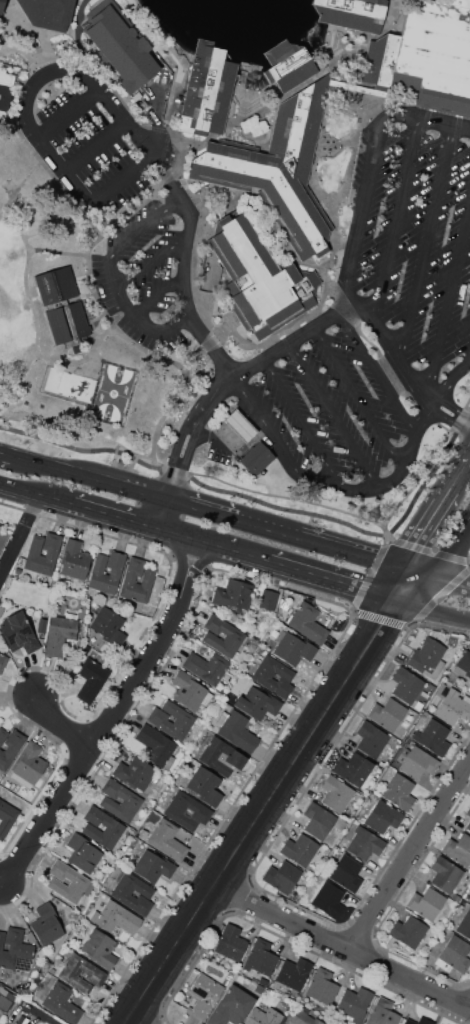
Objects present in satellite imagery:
building: (1, 6)
pier: (323, 9)
building: (48, 13)
building: (352, 13)
road: (79, 36)
building: (118, 44)
pier: (216, 56)
building: (431, 56)
pier: (282, 57)
road: (376, 61)
building: (288, 65)
road: (44, 79)
building: (7, 84)
building: (208, 90)
road: (262, 107)
road: (71, 115)
road: (98, 146)
building: (277, 169)
road: (25, 181)
road: (125, 182)
parking lot: (121, 197)
road: (395, 220)
road: (150, 223)
road: (358, 232)
road: (425, 241)
road: (73, 254)
road: (153, 261)
road: (186, 264)
building: (260, 281)
building: (56, 285)
road: (159, 297)
road: (449, 297)
park: (9, 311)
road: (33, 311)
road: (133, 312)
building: (67, 322)
park: (72, 342)
road: (281, 344)
road: (376, 374)
road: (450, 379)
park: (117, 394)
road: (359, 397)
road: (454, 405)
road: (334, 414)
road: (424, 418)
road: (301, 421)
road: (449, 421)
road: (265, 423)
building: (241, 426)
road: (186, 446)
road: (6, 452)
building: (257, 458)
road: (92, 477)
road: (203, 486)
road: (370, 489)
road: (37, 494)
road: (204, 510)
road: (437, 515)
road: (118, 518)
building: (0, 523)
building: (0, 527)
road: (267, 528)
building: (2, 538)
road: (21, 540)
road: (216, 546)
building: (0, 548)
building: (52, 551)
road: (353, 552)
building: (75, 560)
building: (97, 570)
road: (441, 574)
road: (439, 576)
building: (129, 579)
road: (334, 580)
road: (402, 584)
building: (234, 594)
building: (269, 600)
road: (434, 612)
building: (307, 622)
building: (109, 624)
building: (18, 632)
building: (61, 632)
building: (234, 637)
building: (294, 649)
building: (428, 659)
building: (3, 661)
building: (464, 662)
building: (209, 668)
building: (274, 676)
building: (91, 679)
building: (406, 685)
building: (190, 690)
building: (257, 703)
building: (419, 705)
building: (453, 707)
building: (388, 713)
road: (115, 718)
building: (184, 721)
road: (65, 724)
building: (236, 730)
building: (3, 735)
building: (432, 737)
building: (371, 739)
building: (156, 745)
building: (11, 748)
building: (222, 757)
building: (416, 761)
building: (28, 764)
building: (353, 768)
building: (48, 772)
building: (134, 773)
building: (205, 786)
building: (399, 792)
building: (336, 793)
building: (131, 802)
building: (187, 811)
building: (468, 811)
road: (264, 813)
building: (6, 816)
building: (383, 817)
building: (318, 820)
building: (468, 826)
building: (114, 829)
building: (143, 833)
building: (167, 840)
building: (365, 843)
building: (301, 849)
building: (458, 849)
building: (83, 853)
road: (411, 856)
building: (153, 866)
building: (346, 873)
building: (445, 873)
building: (282, 876)
road: (1, 881)
building: (80, 881)
building: (133, 893)
building: (328, 900)
building: (427, 903)
building: (116, 918)
building: (46, 924)
building: (464, 925)
building: (406, 933)
building: (231, 943)
road: (343, 947)
building: (99, 949)
building: (15, 950)
building: (454, 955)
building: (260, 957)
building: (293, 973)
building: (81, 974)
building: (263, 981)
building: (322, 987)
building: (259, 988)
building: (203, 996)
building: (6, 1000)
building: (61, 1003)
building: (354, 1004)
building: (232, 1007)
building: (383, 1013)
building: (263, 1016)
building: (304, 1017)
building: (22, 1020)
road: (136, 1021)
building: (418, 1021)

